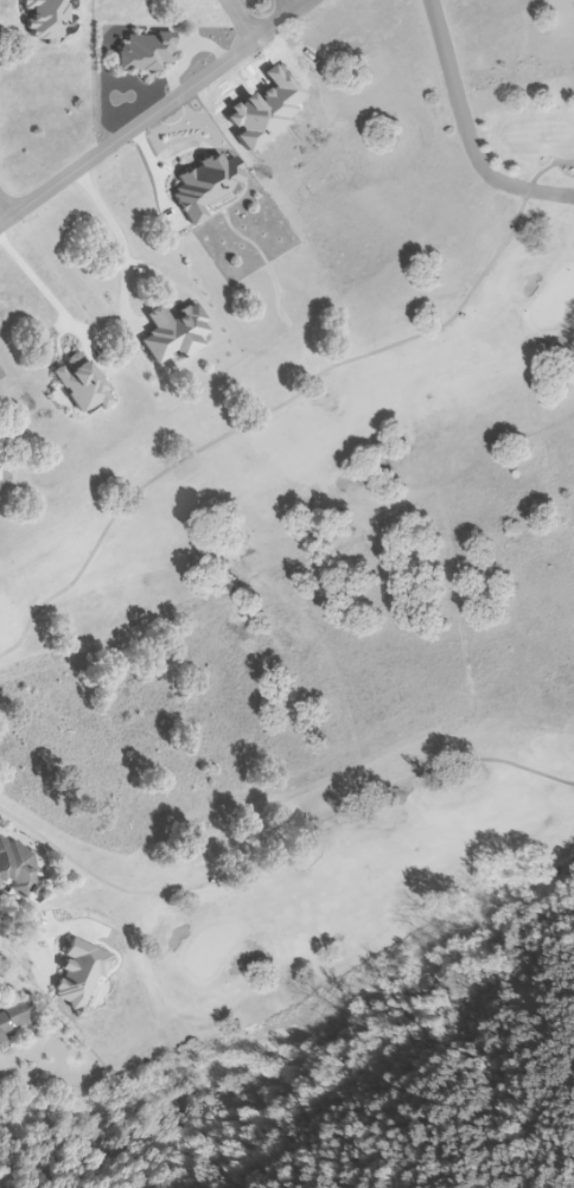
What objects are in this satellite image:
road: (292, 6)
road: (243, 20)
building: (141, 51)
road: (157, 111)
road: (468, 133)
road: (121, 232)
road: (37, 272)
building: (14, 868)
building: (12, 1015)

